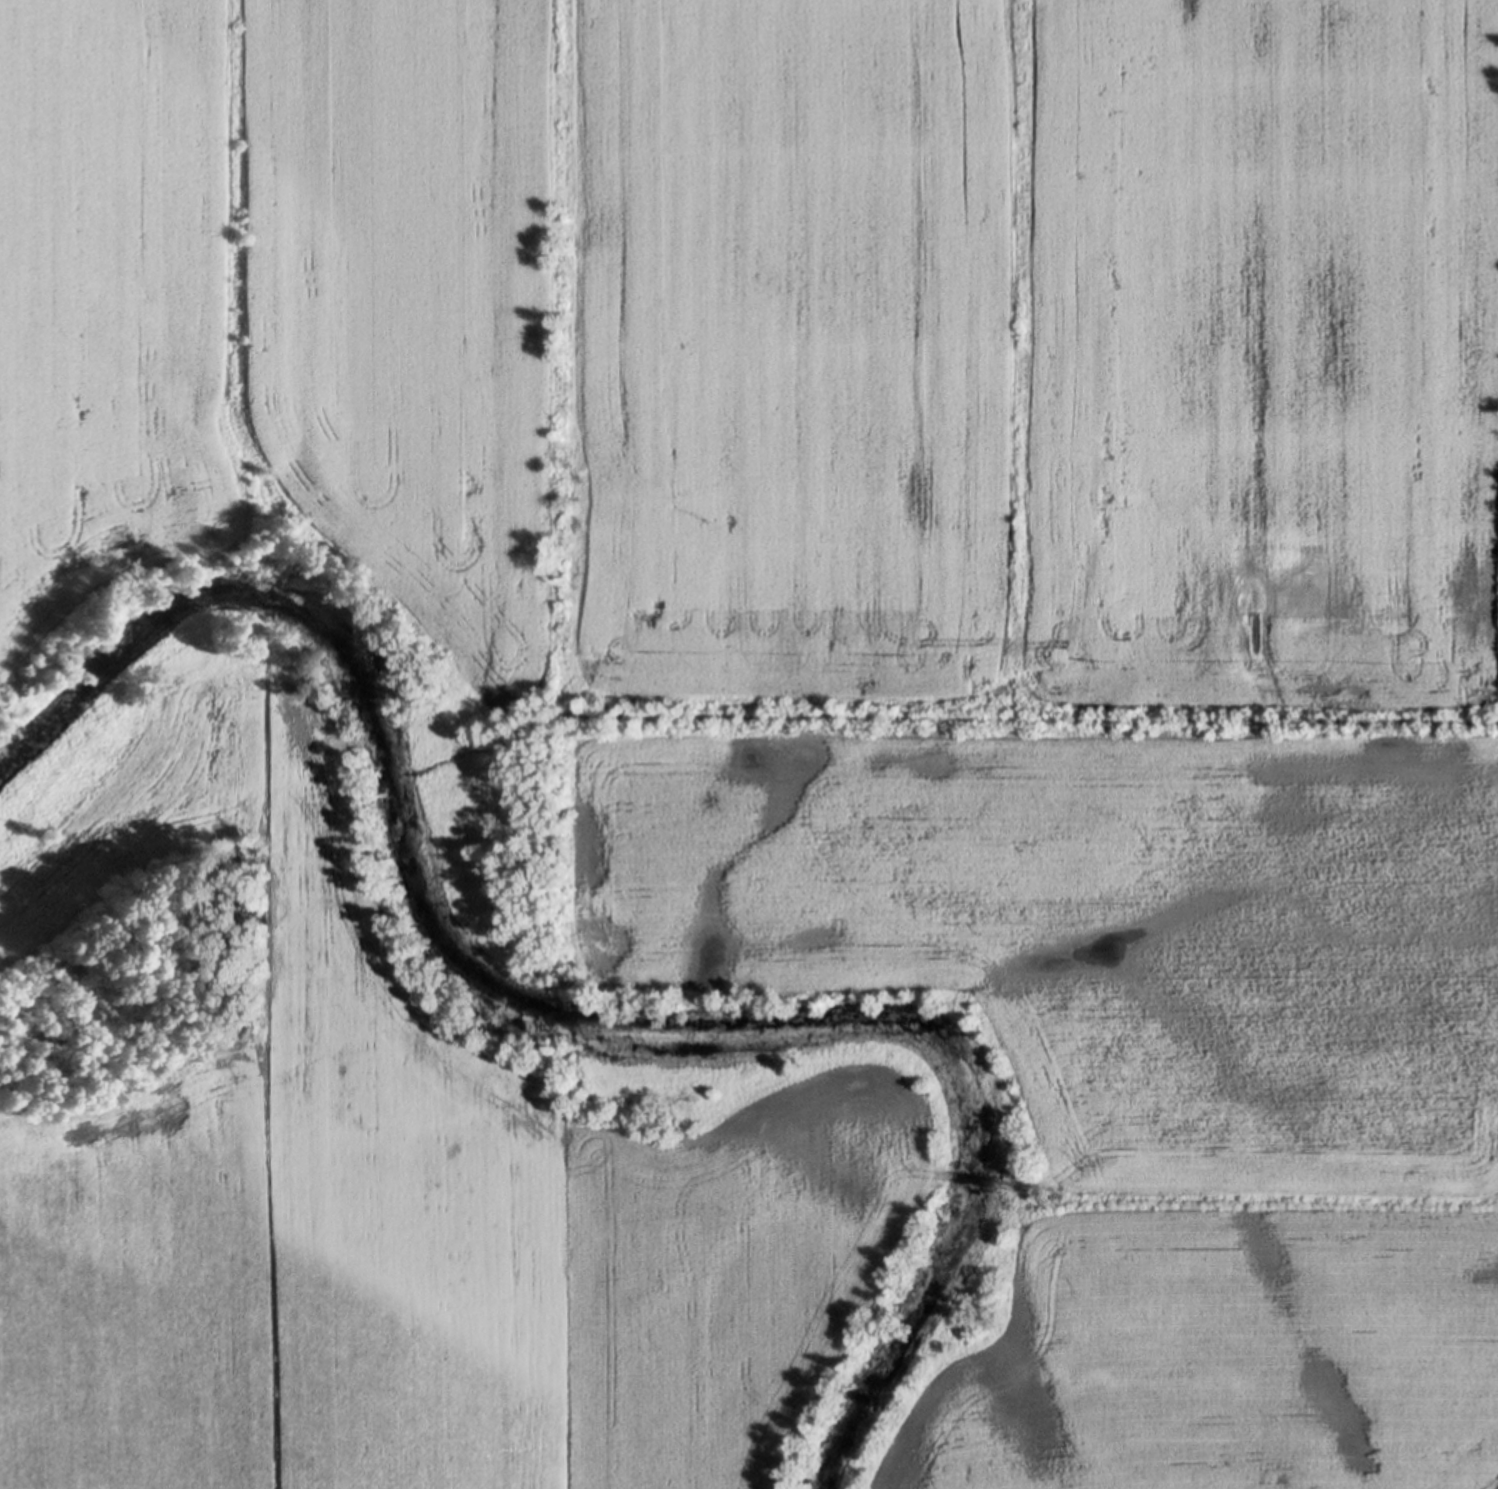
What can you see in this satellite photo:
crop: (283, 303)
crop: (1043, 350)

